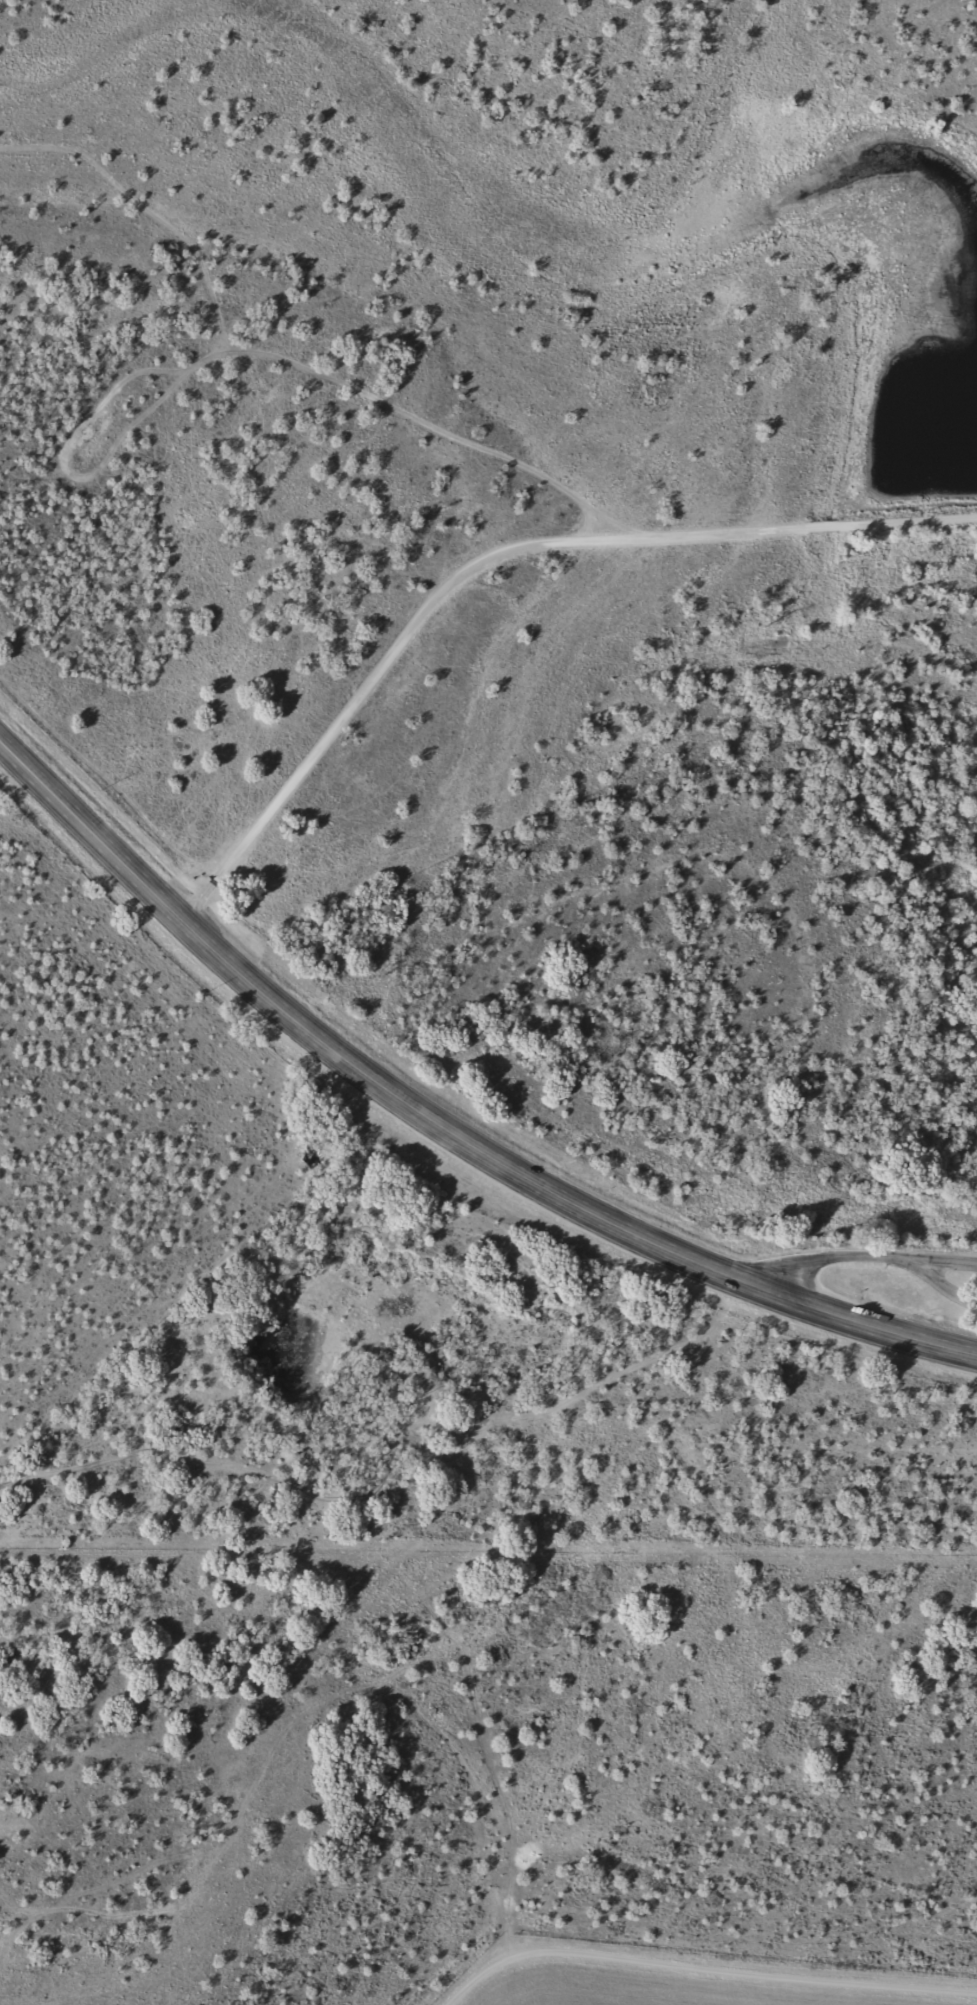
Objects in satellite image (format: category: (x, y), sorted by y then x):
road: (492, 556)
road: (212, 955)
building: (308, 1158)
road: (825, 1258)
road: (939, 1259)
road: (703, 1270)
road: (938, 1282)
road: (700, 1966)

